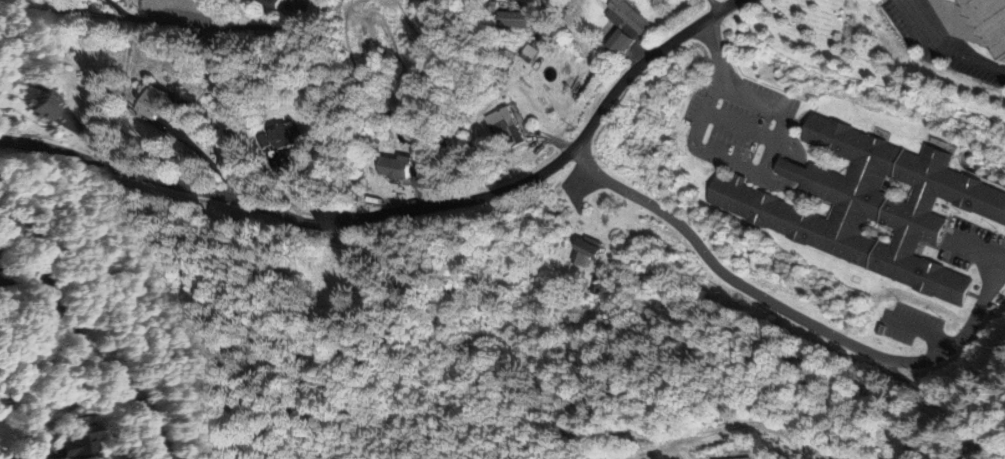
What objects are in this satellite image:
road: (724, 3)
building: (275, 4)
building: (990, 20)
building: (631, 26)
road: (254, 27)
road: (211, 37)
road: (944, 47)
building: (158, 106)
building: (49, 108)
building: (513, 128)
building: (279, 138)
building: (396, 168)
building: (872, 204)
road: (400, 211)
road: (977, 250)
building: (593, 252)
road: (778, 307)
road: (80, 338)
road: (954, 341)
building: (88, 435)
road: (26, 457)

